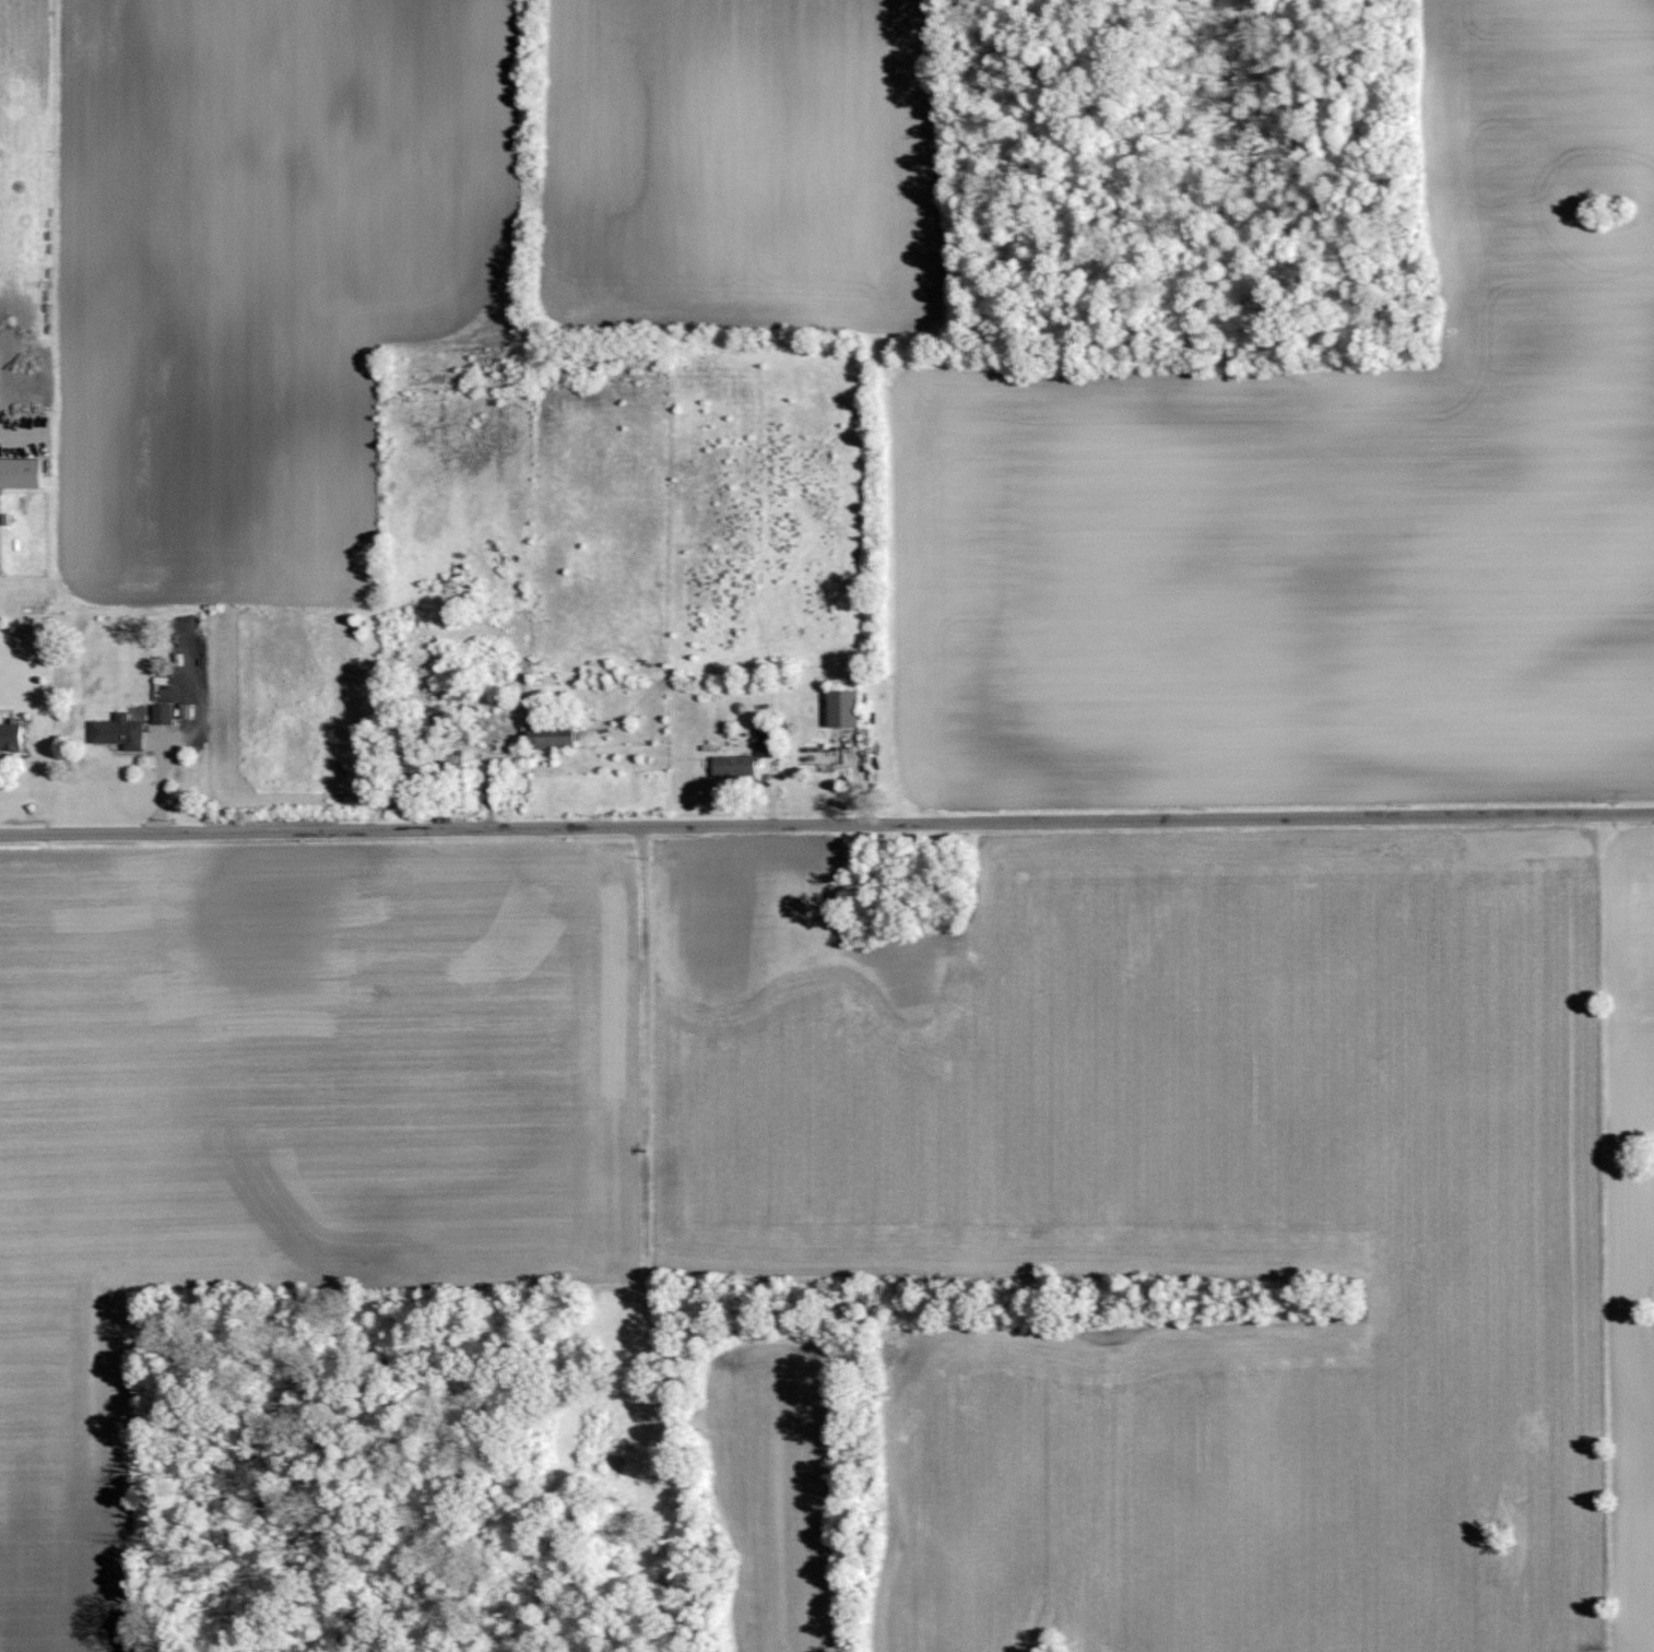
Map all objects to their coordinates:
building: (20, 474)
building: (842, 709)
building: (186, 712)
building: (162, 715)
building: (118, 732)
building: (550, 736)
building: (10, 737)
building: (734, 766)
road: (827, 824)

